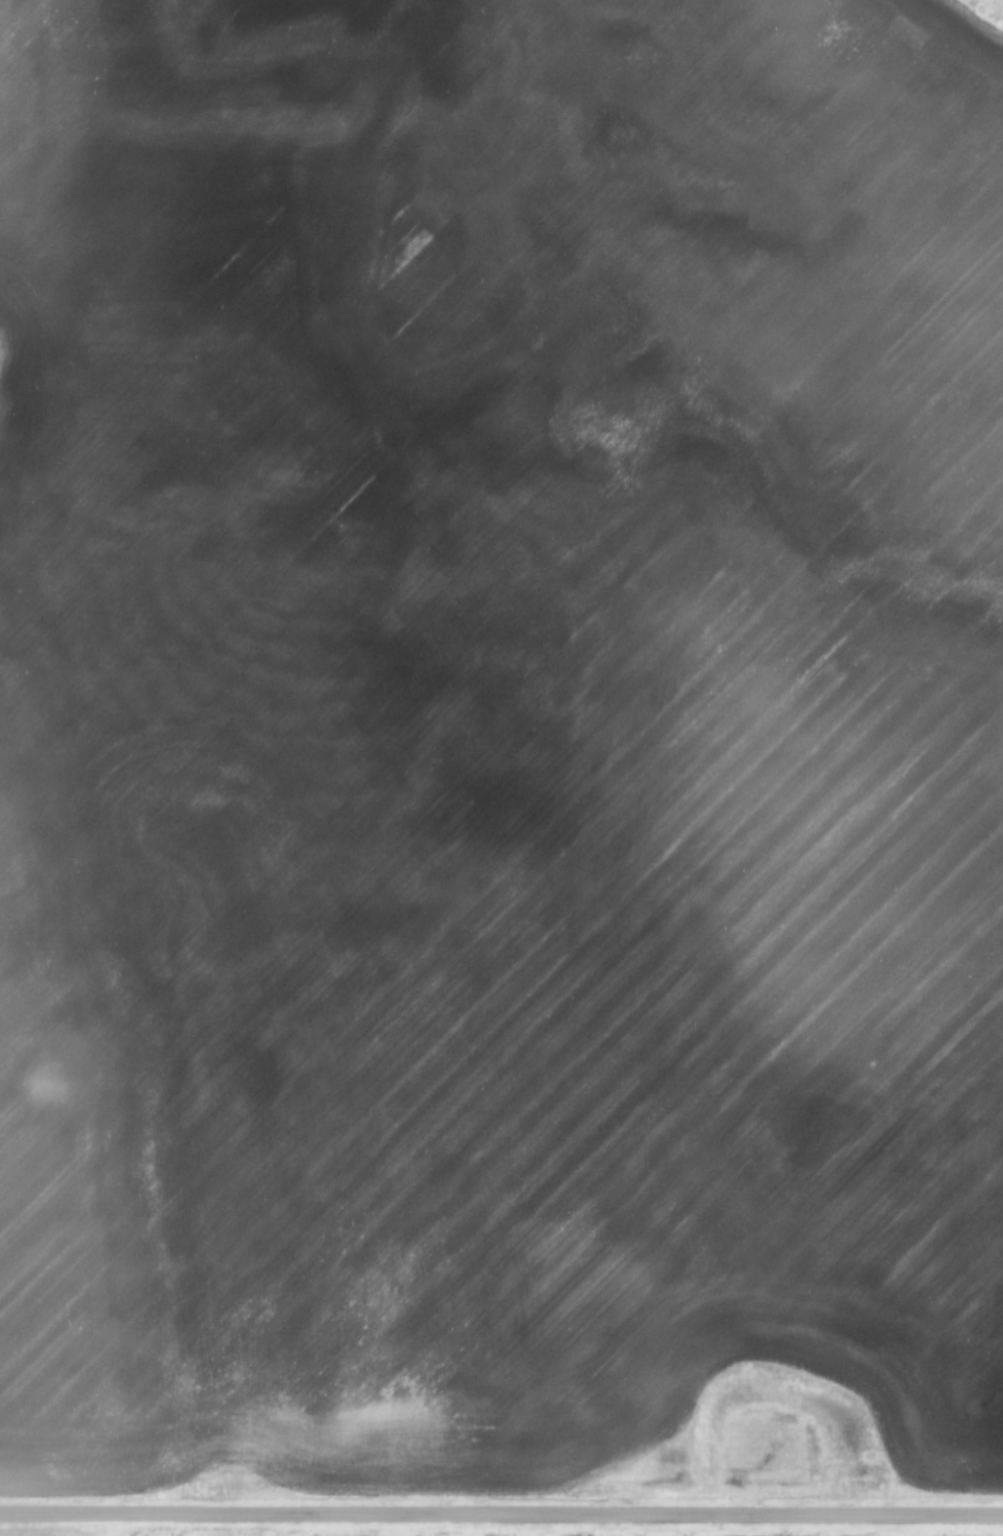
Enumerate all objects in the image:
road: (501, 1511)

